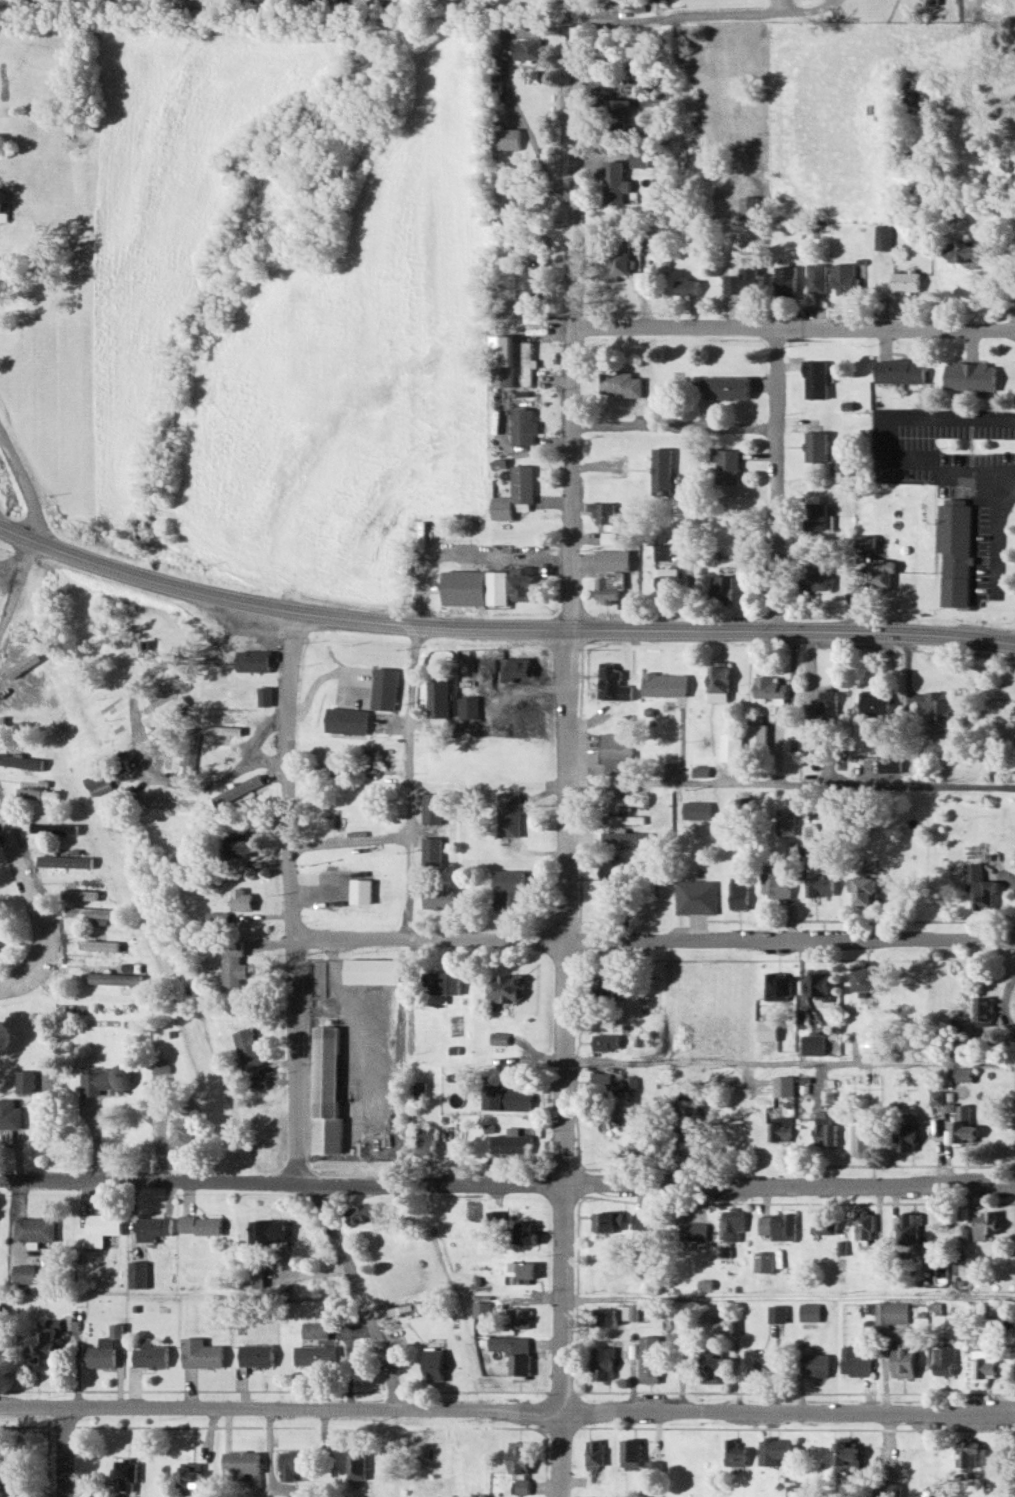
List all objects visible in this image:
building: (932, 2)
road: (778, 5)
road: (703, 12)
building: (529, 49)
building: (615, 114)
building: (639, 159)
building: (615, 182)
building: (5, 203)
building: (747, 207)
building: (884, 237)
building: (967, 254)
building: (620, 259)
building: (817, 278)
building: (844, 278)
building: (786, 280)
building: (745, 281)
building: (907, 281)
building: (527, 286)
building: (686, 286)
road: (794, 328)
building: (503, 360)
building: (526, 363)
building: (900, 371)
building: (971, 376)
building: (814, 380)
building: (622, 385)
building: (726, 387)
road: (677, 425)
building: (523, 426)
building: (814, 447)
building: (839, 463)
building: (726, 466)
building: (662, 471)
road: (778, 481)
road: (25, 487)
building: (515, 494)
building: (603, 511)
building: (815, 512)
building: (606, 538)
building: (955, 549)
building: (661, 551)
building: (613, 559)
building: (881, 574)
building: (814, 578)
road: (17, 582)
building: (522, 582)
building: (668, 582)
building: (462, 586)
building: (721, 586)
building: (497, 587)
building: (606, 591)
road: (501, 630)
building: (250, 661)
building: (522, 666)
building: (718, 676)
building: (614, 683)
building: (665, 684)
building: (384, 687)
building: (768, 687)
building: (164, 688)
building: (261, 695)
building: (438, 697)
building: (827, 700)
building: (874, 704)
building: (468, 706)
building: (164, 712)
building: (935, 712)
building: (225, 714)
building: (346, 719)
road: (129, 731)
building: (220, 731)
building: (758, 736)
building: (732, 746)
building: (189, 747)
road: (563, 748)
building: (101, 753)
building: (616, 753)
building: (369, 755)
building: (170, 756)
building: (21, 761)
building: (889, 762)
building: (700, 771)
road: (411, 781)
road: (789, 784)
building: (235, 790)
building: (37, 793)
building: (116, 799)
building: (631, 800)
building: (167, 803)
building: (431, 807)
building: (743, 808)
building: (697, 809)
building: (509, 812)
building: (622, 819)
building: (786, 821)
building: (49, 826)
building: (238, 845)
building: (430, 852)
building: (59, 861)
building: (776, 882)
building: (821, 885)
building: (978, 887)
building: (509, 889)
building: (360, 890)
building: (868, 890)
building: (739, 892)
building: (82, 893)
building: (695, 895)
building: (438, 897)
building: (242, 899)
road: (38, 908)
building: (89, 914)
building: (218, 915)
road: (654, 941)
building: (100, 945)
building: (232, 964)
building: (372, 969)
building: (113, 978)
building: (867, 979)
building: (683, 983)
building: (820, 984)
building: (439, 985)
building: (602, 986)
building: (778, 986)
building: (505, 987)
building: (982, 1008)
road: (295, 1021)
building: (497, 1038)
building: (605, 1042)
building: (814, 1044)
building: (248, 1047)
road: (794, 1062)
building: (965, 1073)
building: (102, 1081)
building: (32, 1082)
building: (602, 1082)
building: (783, 1085)
building: (417, 1090)
building: (326, 1092)
building: (507, 1097)
building: (9, 1114)
building: (261, 1122)
building: (965, 1124)
building: (779, 1128)
building: (180, 1129)
building: (825, 1130)
building: (863, 1136)
building: (642, 1138)
building: (908, 1138)
building: (424, 1141)
building: (689, 1142)
building: (510, 1143)
road: (507, 1185)
road: (699, 1202)
building: (362, 1212)
building: (493, 1220)
building: (732, 1220)
building: (607, 1221)
building: (636, 1222)
building: (825, 1223)
building: (200, 1224)
building: (988, 1224)
building: (776, 1225)
building: (864, 1227)
building: (909, 1228)
building: (32, 1229)
building: (96, 1229)
building: (151, 1229)
building: (269, 1231)
building: (522, 1231)
building: (691, 1231)
building: (762, 1261)
building: (522, 1268)
building: (22, 1273)
building: (135, 1274)
building: (253, 1276)
road: (790, 1301)
building: (479, 1309)
building: (809, 1311)
building: (776, 1313)
building: (889, 1313)
building: (606, 1315)
building: (517, 1317)
building: (314, 1346)
building: (44, 1347)
building: (105, 1350)
building: (200, 1353)
building: (513, 1353)
building: (149, 1354)
building: (255, 1354)
building: (649, 1357)
building: (903, 1360)
building: (943, 1361)
building: (853, 1362)
building: (986, 1363)
building: (432, 1364)
building: (602, 1364)
building: (754, 1364)
building: (815, 1364)
building: (712, 1366)
road: (191, 1389)
road: (485, 1390)
road: (559, 1391)
road: (794, 1391)
road: (507, 1410)
building: (774, 1450)
road: (63, 1452)
building: (630, 1452)
building: (967, 1452)
building: (444, 1453)
building: (593, 1453)
building: (734, 1453)
building: (517, 1454)
building: (847, 1454)
building: (293, 1463)
building: (356, 1464)
building: (241, 1465)
building: (993, 1466)
building: (16, 1474)
building: (124, 1474)
building: (189, 1474)
building: (520, 1485)
building: (892, 1489)

